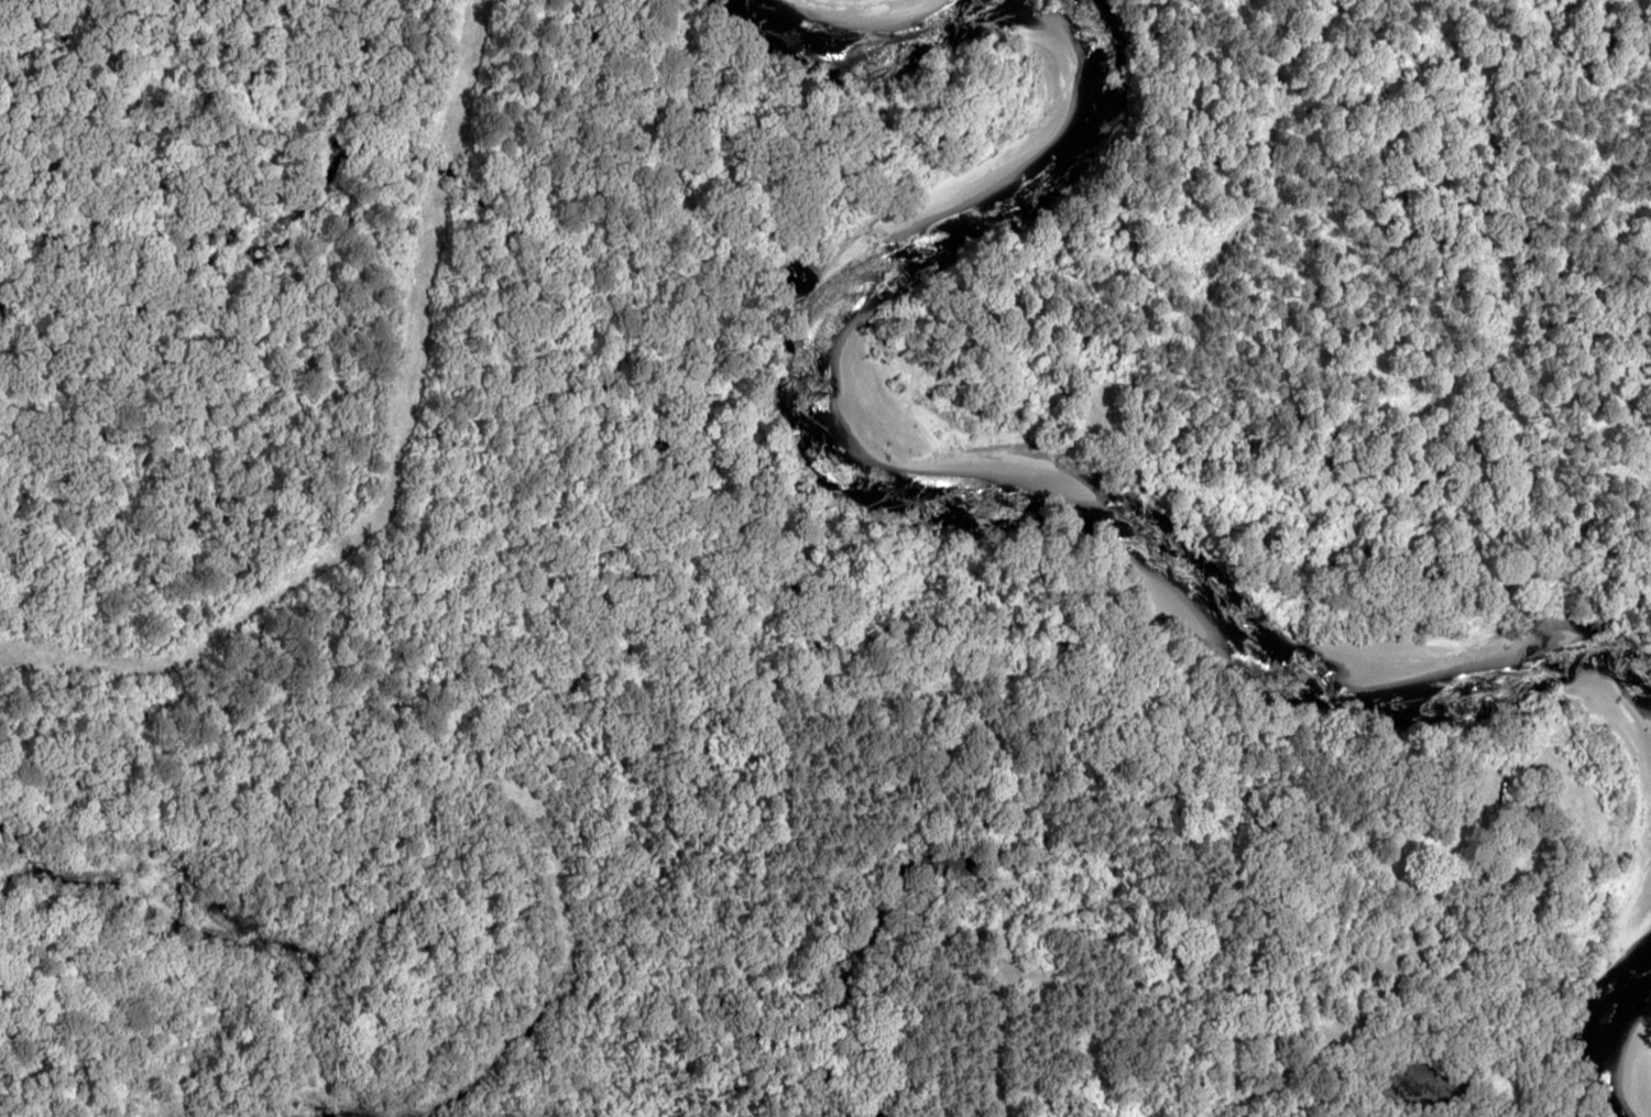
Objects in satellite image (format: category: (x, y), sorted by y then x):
road: (1286, 844)

